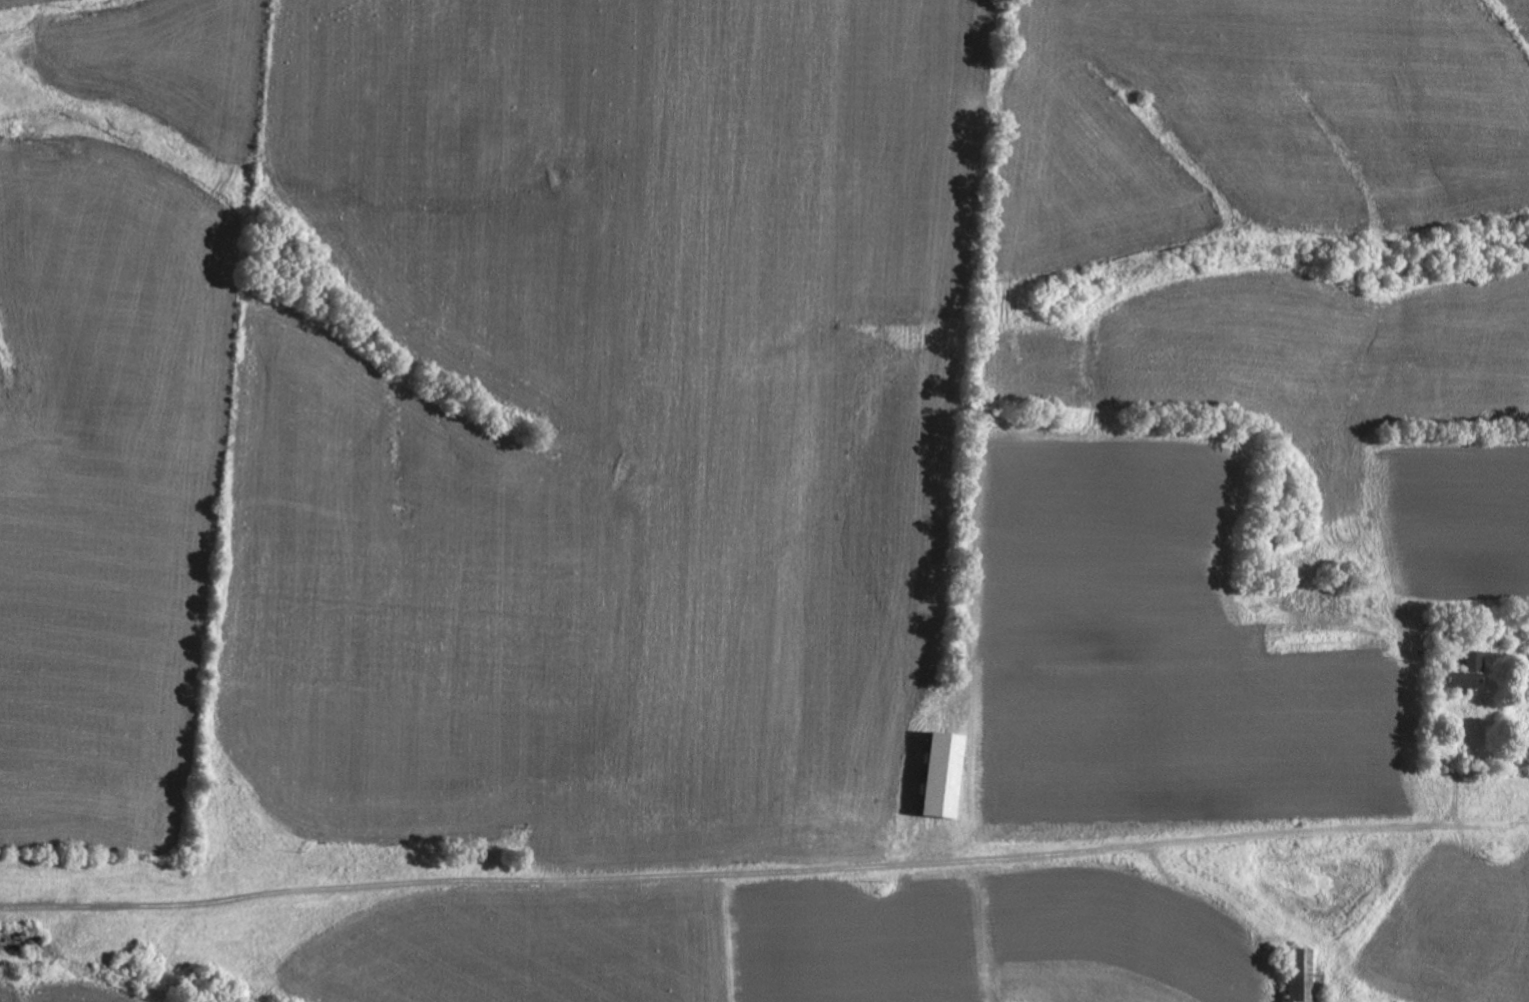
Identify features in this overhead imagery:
building: (1456, 672)
building: (928, 775)
building: (1297, 975)

